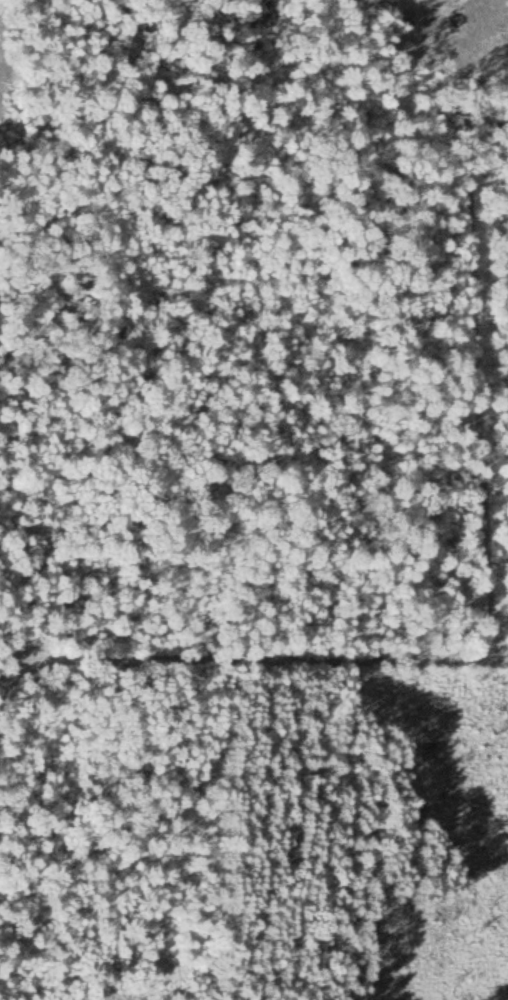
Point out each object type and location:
petroleum well: (453, 16)
road: (489, 587)
road: (2, 646)
road: (491, 655)

